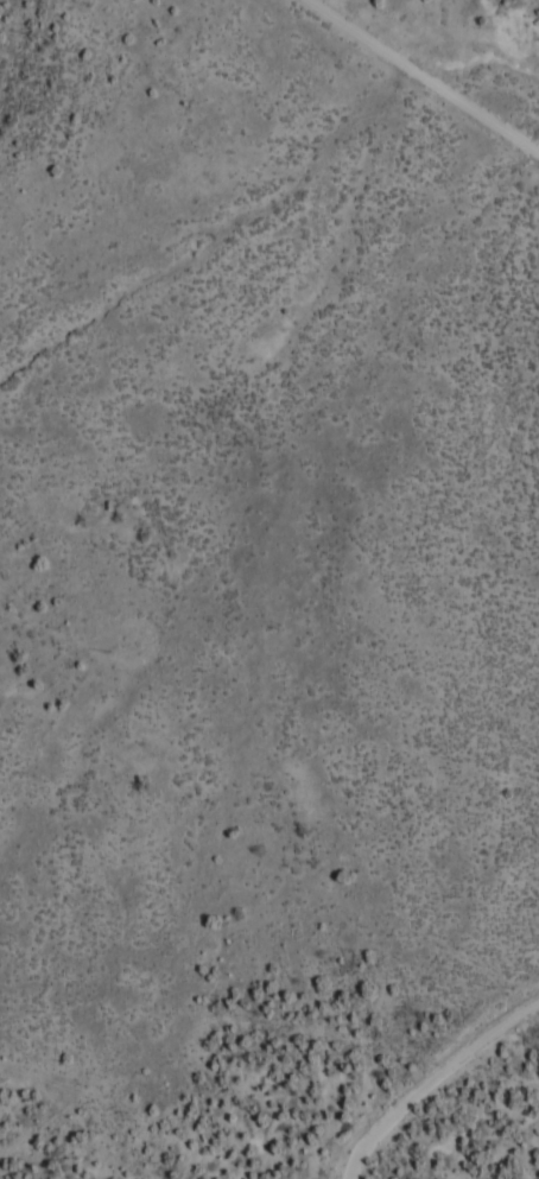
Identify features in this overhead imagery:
road: (421, 85)

